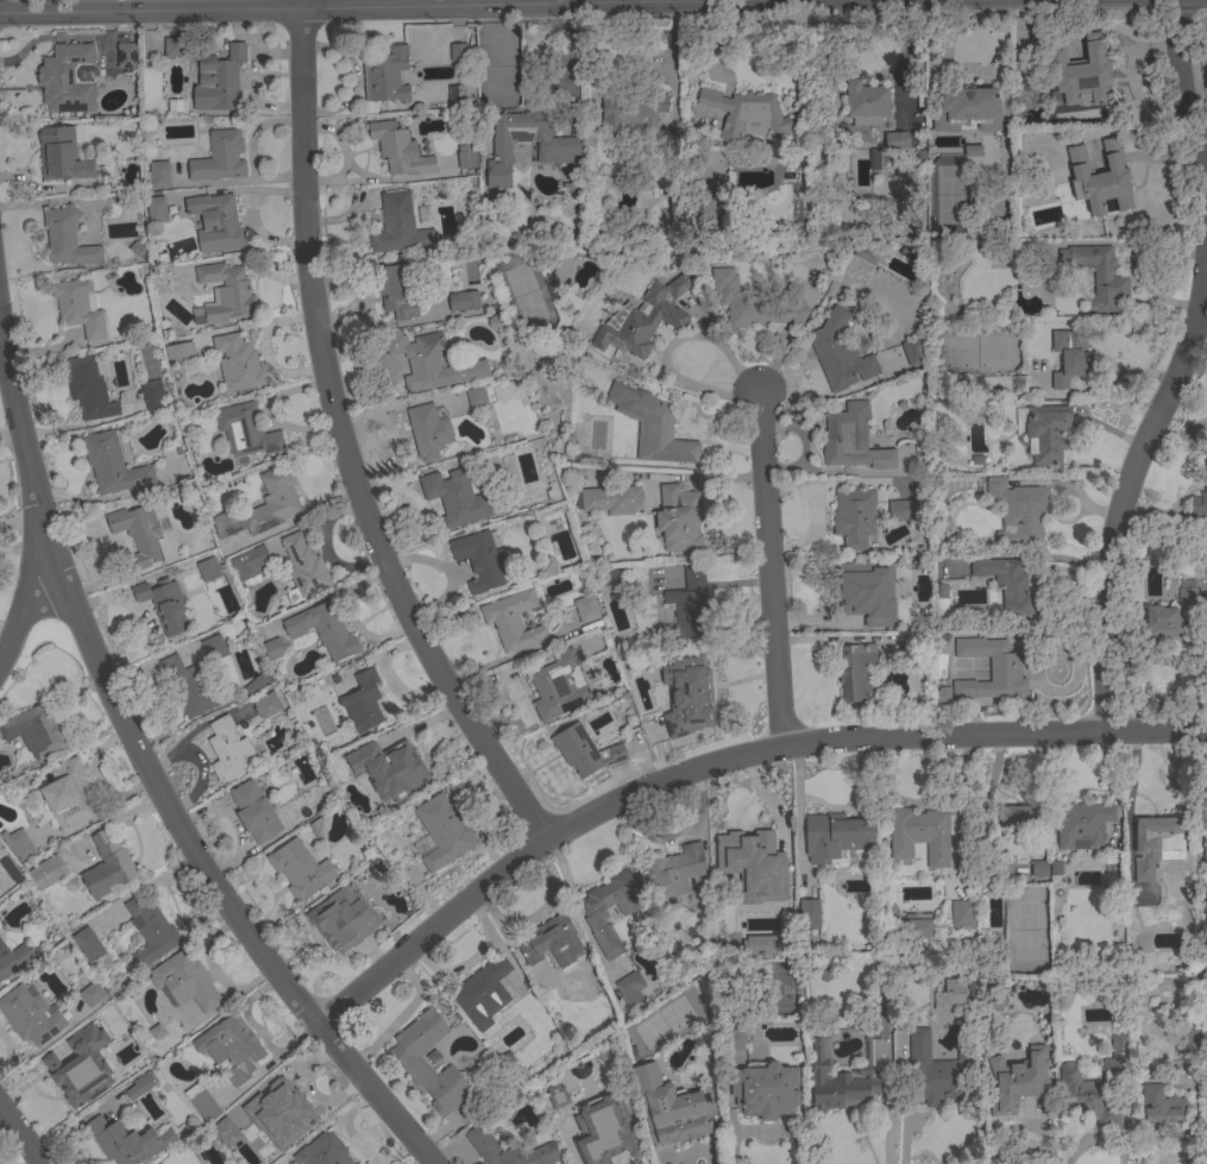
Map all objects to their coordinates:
road: (623, 0)
road: (360, 7)
building: (178, 46)
building: (458, 52)
road: (944, 55)
building: (125, 56)
road: (904, 61)
building: (1080, 73)
building: (385, 75)
building: (68, 78)
building: (219, 81)
building: (460, 92)
building: (866, 103)
building: (967, 109)
building: (631, 112)
building: (746, 113)
building: (900, 140)
building: (558, 149)
building: (398, 150)
building: (973, 151)
building: (61, 155)
building: (465, 157)
building: (219, 158)
building: (874, 159)
building: (158, 175)
building: (1101, 177)
building: (573, 184)
building: (706, 196)
building: (156, 209)
building: (987, 210)
building: (215, 222)
building: (398, 226)
building: (67, 239)
building: (867, 251)
building: (910, 253)
building: (561, 270)
building: (1096, 276)
building: (397, 288)
building: (226, 292)
building: (463, 301)
building: (756, 303)
building: (78, 308)
building: (641, 320)
building: (495, 323)
road: (667, 347)
building: (913, 351)
building: (178, 352)
building: (838, 353)
building: (1068, 357)
building: (429, 361)
building: (237, 363)
road: (1176, 369)
building: (88, 389)
building: (152, 395)
building: (476, 397)
building: (652, 424)
building: (245, 430)
building: (428, 432)
building: (1044, 434)
building: (851, 440)
road: (341, 442)
building: (112, 465)
road: (704, 477)
road: (706, 490)
building: (454, 498)
building: (609, 499)
building: (1200, 499)
building: (262, 507)
building: (904, 510)
building: (1018, 511)
building: (853, 517)
building: (678, 518)
building: (137, 533)
building: (482, 561)
building: (250, 566)
building: (303, 568)
building: (208, 570)
road: (772, 570)
building: (606, 577)
building: (1007, 586)
building: (866, 591)
building: (939, 593)
building: (164, 605)
road: (21, 608)
building: (687, 608)
building: (585, 609)
building: (1173, 617)
building: (513, 621)
building: (323, 630)
building: (214, 648)
building: (272, 649)
building: (989, 668)
building: (855, 672)
building: (256, 684)
building: (190, 687)
building: (558, 687)
building: (943, 696)
building: (363, 701)
building: (684, 701)
building: (276, 703)
building: (265, 707)
building: (36, 730)
building: (227, 749)
building: (584, 751)
building: (347, 757)
building: (406, 763)
road: (721, 763)
road: (158, 785)
building: (68, 795)
building: (254, 812)
building: (1016, 822)
building: (1081, 824)
building: (442, 831)
building: (834, 836)
building: (919, 836)
building: (17, 844)
building: (755, 845)
building: (1155, 845)
building: (422, 848)
building: (1203, 850)
building: (107, 867)
building: (300, 869)
building: (1038, 869)
building: (673, 870)
building: (48, 872)
building: (1055, 874)
building: (961, 913)
road: (535, 914)
building: (809, 914)
building: (596, 916)
building: (340, 924)
building: (918, 929)
building: (150, 931)
building: (552, 942)
building: (87, 944)
road: (515, 950)
building: (13, 959)
building: (186, 981)
building: (630, 988)
building: (483, 993)
building: (92, 994)
building: (944, 998)
building: (994, 1002)
building: (30, 1015)
building: (735, 1039)
building: (1189, 1045)
building: (230, 1047)
building: (409, 1059)
building: (936, 1071)
building: (845, 1074)
building: (73, 1078)
building: (1017, 1081)
building: (139, 1084)
building: (1096, 1086)
building: (765, 1090)
building: (555, 1096)
road: (905, 1097)
building: (1159, 1102)
building: (203, 1105)
building: (282, 1109)
building: (672, 1109)
building: (219, 1125)
building: (603, 1130)
road: (20, 1134)
building: (125, 1141)
building: (322, 1151)
building: (508, 1151)
building: (356, 1163)

